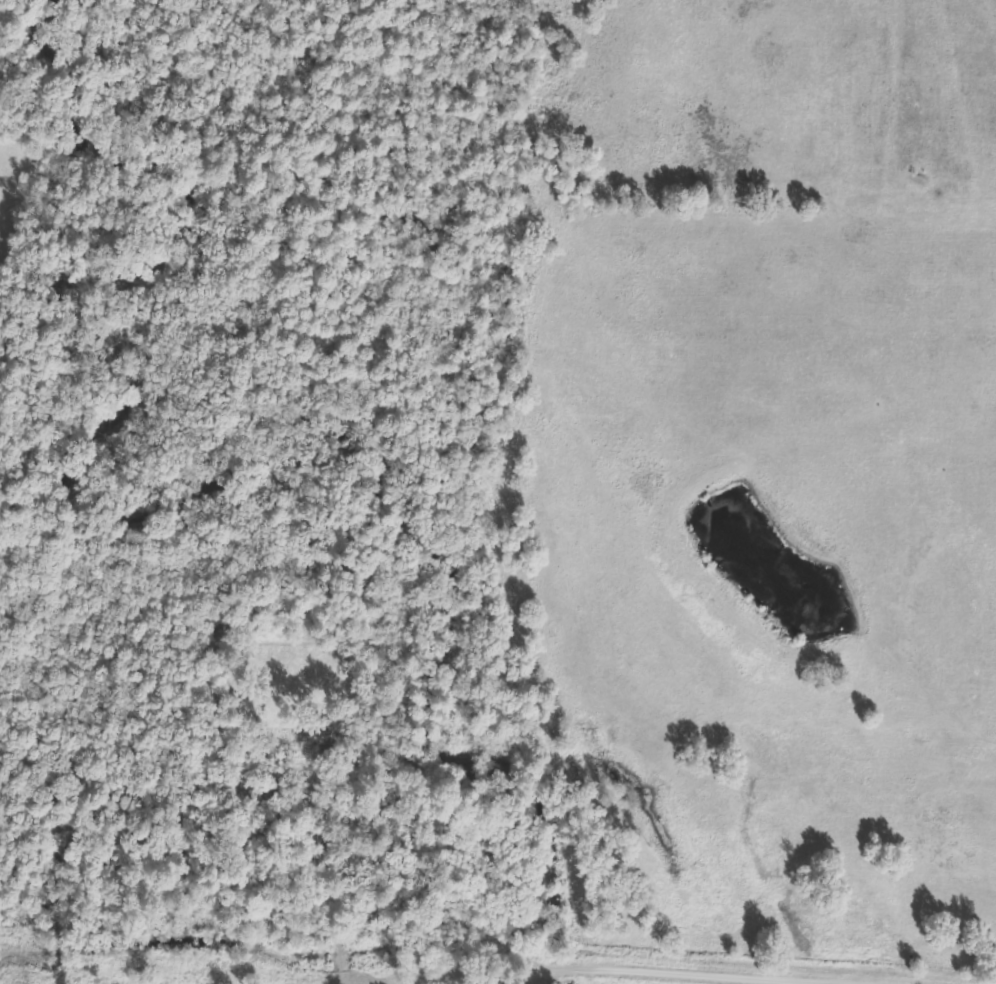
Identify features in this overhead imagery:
road: (617, 960)

